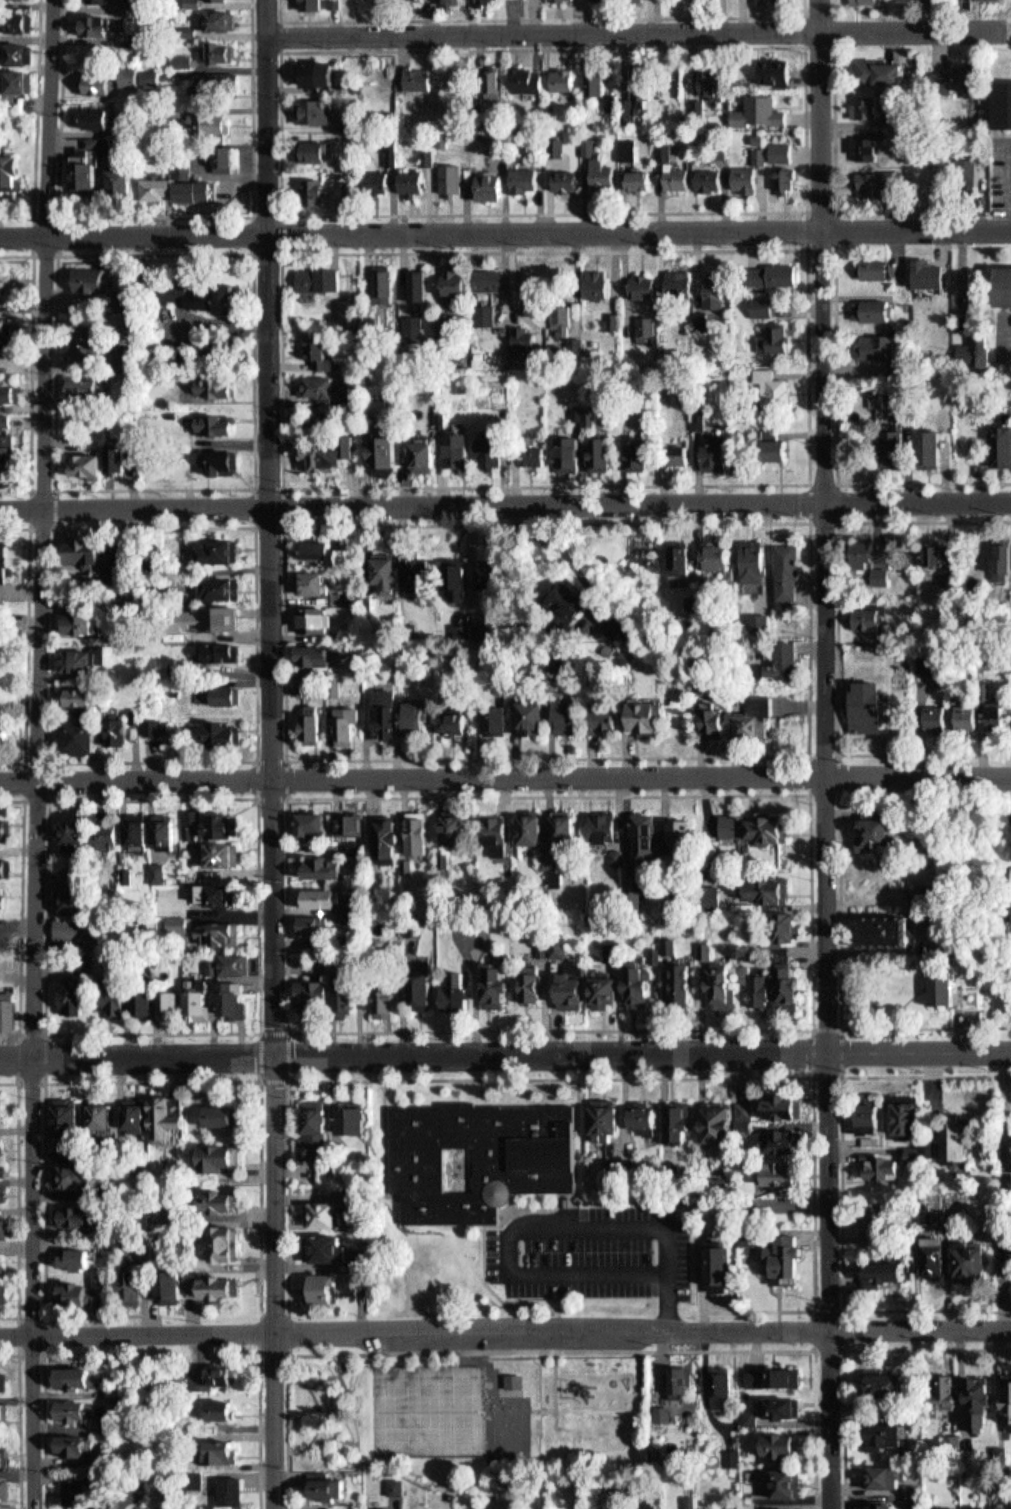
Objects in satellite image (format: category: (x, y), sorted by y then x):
building: (418, 0)
building: (452, 0)
building: (489, 0)
building: (565, 0)
building: (710, 0)
building: (101, 1)
building: (974, 1)
building: (778, 2)
building: (870, 2)
building: (188, 3)
building: (219, 3)
building: (337, 3)
building: (315, 5)
road: (541, 18)
building: (11, 20)
building: (218, 20)
road: (279, 21)
building: (96, 26)
building: (184, 29)
road: (623, 33)
road: (806, 45)
road: (278, 49)
building: (222, 52)
building: (11, 54)
building: (180, 60)
building: (778, 71)
building: (315, 73)
building: (884, 73)
building: (136, 75)
building: (417, 78)
building: (595, 79)
building: (212, 80)
building: (530, 80)
building: (566, 80)
building: (97, 82)
building: (499, 82)
building: (972, 82)
building: (10, 83)
building: (715, 83)
building: (489, 87)
building: (640, 91)
building: (1002, 105)
building: (315, 110)
building: (767, 111)
building: (98, 116)
building: (350, 120)
building: (206, 123)
road: (33, 124)
building: (125, 129)
road: (835, 129)
building: (439, 140)
building: (497, 146)
building: (590, 146)
building: (873, 146)
building: (630, 148)
building: (311, 150)
building: (392, 150)
building: (428, 157)
building: (222, 158)
building: (90, 169)
building: (11, 170)
building: (184, 170)
building: (787, 172)
building: (678, 177)
building: (605, 178)
building: (451, 179)
building: (374, 180)
building: (410, 180)
building: (644, 180)
building: (713, 180)
building: (748, 180)
building: (526, 181)
building: (567, 181)
building: (125, 182)
building: (883, 185)
building: (162, 186)
building: (488, 186)
building: (200, 189)
building: (349, 189)
building: (313, 191)
road: (806, 210)
road: (156, 214)
road: (505, 232)
road: (806, 248)
road: (253, 252)
road: (32, 254)
road: (56, 258)
building: (880, 268)
building: (934, 272)
building: (93, 274)
building: (779, 274)
building: (491, 276)
building: (324, 277)
building: (384, 277)
building: (419, 278)
building: (454, 279)
building: (682, 281)
building: (647, 285)
building: (1004, 285)
building: (600, 286)
building: (7, 287)
building: (717, 290)
building: (208, 292)
building: (766, 305)
building: (881, 309)
building: (489, 311)
building: (446, 319)
building: (612, 320)
building: (563, 321)
building: (7, 322)
building: (415, 324)
building: (646, 329)
building: (92, 336)
parking lot: (1003, 336)
building: (524, 338)
building: (780, 338)
building: (222, 344)
building: (880, 345)
building: (0, 346)
building: (325, 350)
building: (978, 351)
building: (114, 363)
road: (30, 369)
building: (220, 387)
building: (321, 387)
building: (780, 387)
building: (79, 390)
building: (4, 393)
building: (700, 414)
building: (447, 416)
building: (5, 418)
building: (218, 423)
building: (135, 425)
building: (462, 444)
building: (1002, 444)
building: (940, 446)
building: (781, 447)
building: (490, 448)
building: (900, 448)
building: (718, 449)
building: (390, 450)
building: (640, 450)
building: (10, 451)
building: (333, 451)
road: (838, 451)
building: (428, 452)
building: (570, 452)
building: (603, 452)
building: (542, 454)
building: (121, 456)
building: (220, 459)
building: (89, 462)
road: (505, 504)
road: (809, 521)
road: (282, 525)
road: (52, 527)
building: (222, 549)
building: (174, 551)
building: (327, 551)
building: (856, 553)
building: (716, 554)
building: (755, 554)
building: (940, 554)
building: (6, 560)
building: (314, 560)
building: (100, 561)
building: (789, 571)
building: (424, 572)
building: (494, 574)
building: (390, 575)
building: (878, 575)
building: (941, 578)
building: (314, 582)
building: (381, 582)
building: (413, 582)
building: (225, 587)
building: (451, 594)
building: (225, 617)
building: (318, 618)
building: (870, 618)
building: (86, 622)
road: (838, 635)
road: (26, 642)
building: (226, 651)
building: (89, 658)
building: (320, 658)
building: (785, 658)
building: (934, 665)
building: (230, 694)
building: (84, 696)
building: (873, 710)
building: (1000, 713)
building: (389, 714)
building: (943, 714)
building: (573, 715)
building: (418, 716)
building: (539, 716)
building: (969, 716)
building: (655, 717)
building: (500, 718)
building: (6, 720)
building: (611, 720)
building: (720, 720)
building: (458, 722)
building: (758, 724)
building: (154, 726)
building: (350, 726)
building: (315, 728)
building: (122, 731)
building: (227, 733)
building: (85, 735)
road: (37, 754)
road: (270, 754)
road: (827, 754)
road: (811, 756)
road: (52, 760)
road: (505, 778)
road: (840, 788)
road: (286, 797)
road: (23, 799)
building: (353, 822)
building: (317, 823)
building: (225, 824)
building: (610, 824)
building: (1007, 824)
building: (8, 827)
building: (759, 827)
building: (143, 828)
building: (537, 828)
building: (570, 828)
building: (890, 828)
building: (458, 829)
building: (168, 830)
building: (686, 830)
building: (76, 834)
building: (422, 834)
building: (649, 834)
building: (501, 835)
building: (392, 840)
building: (224, 853)
building: (328, 866)
building: (7, 868)
building: (778, 888)
building: (934, 892)
building: (228, 895)
building: (718, 895)
building: (74, 898)
building: (2, 899)
building: (333, 901)
building: (1009, 902)
road: (842, 906)
road: (20, 913)
building: (313, 923)
building: (887, 923)
building: (793, 928)
building: (82, 929)
building: (224, 930)
building: (777, 930)
building: (553, 942)
building: (696, 942)
building: (534, 943)
building: (608, 946)
building: (617, 952)
building: (236, 963)
building: (323, 968)
building: (677, 979)
building: (487, 980)
building: (525, 980)
building: (719, 981)
building: (783, 982)
building: (502, 983)
building: (633, 983)
building: (647, 984)
building: (536, 985)
building: (567, 985)
building: (752, 985)
building: (952, 985)
building: (602, 986)
building: (461, 989)
building: (765, 990)
building: (350, 991)
building: (427, 991)
building: (78, 993)
building: (116, 995)
building: (317, 995)
building: (390, 998)
building: (234, 999)
building: (146, 1001)
building: (172, 1003)
building: (199, 1003)
building: (8, 1010)
road: (287, 1030)
road: (255, 1032)
road: (505, 1053)
road: (813, 1074)
road: (604, 1076)
road: (259, 1080)
road: (152, 1081)
road: (43, 1082)
building: (777, 1100)
building: (2, 1111)
building: (863, 1111)
building: (901, 1112)
building: (597, 1113)
building: (169, 1114)
building: (222, 1114)
building: (638, 1114)
building: (136, 1115)
building: (875, 1117)
building: (68, 1118)
building: (715, 1118)
building: (103, 1119)
building: (353, 1119)
building: (669, 1119)
building: (680, 1124)
building: (316, 1131)
building: (953, 1134)
building: (776, 1135)
building: (3, 1145)
building: (927, 1151)
building: (475, 1155)
building: (224, 1158)
building: (884, 1158)
building: (1009, 1160)
building: (605, 1164)
building: (777, 1166)
building: (3, 1170)
building: (76, 1175)
road: (843, 1191)
building: (3, 1194)
building: (355, 1196)
road: (17, 1198)
building: (225, 1200)
building: (868, 1214)
building: (76, 1215)
building: (324, 1215)
road: (530, 1221)
building: (3, 1229)
building: (227, 1238)
parking lot: (581, 1248)
building: (776, 1249)
building: (342, 1251)
building: (933, 1251)
building: (966, 1253)
building: (80, 1258)
building: (713, 1258)
building: (3, 1262)
building: (876, 1267)
building: (138, 1283)
building: (218, 1286)
building: (177, 1287)
building: (325, 1289)
building: (82, 1292)
building: (5, 1294)
road: (261, 1314)
road: (505, 1328)
parking lot: (486, 1338)
road: (844, 1348)
road: (847, 1348)
road: (19, 1351)
road: (555, 1351)
building: (766, 1372)
building: (230, 1375)
building: (876, 1375)
building: (5, 1377)
building: (673, 1378)
building: (79, 1379)
building: (711, 1379)
building: (890, 1383)
building: (942, 1385)
building: (723, 1389)
building: (953, 1389)
building: (973, 1396)
building: (1006, 1398)
building: (774, 1402)
building: (985, 1402)
building: (228, 1408)
park: (509, 1409)
park: (427, 1410)
building: (74, 1411)
building: (6, 1412)
building: (739, 1412)
road: (20, 1420)
building: (877, 1426)
road: (261, 1429)
road: (45, 1430)
building: (772, 1439)
building: (79, 1445)
building: (995, 1448)
building: (229, 1451)
building: (6, 1457)
building: (877, 1471)
building: (776, 1478)
building: (8, 1487)
building: (335, 1487)
building: (906, 1487)
building: (235, 1488)
building: (610, 1488)
building: (76, 1491)
building: (618, 1497)
building: (723, 1503)
building: (875, 1503)
building: (970, 1505)
building: (575, 1507)
building: (630, 1507)
building: (781, 1507)
building: (982, 1507)
building: (931, 1508)

